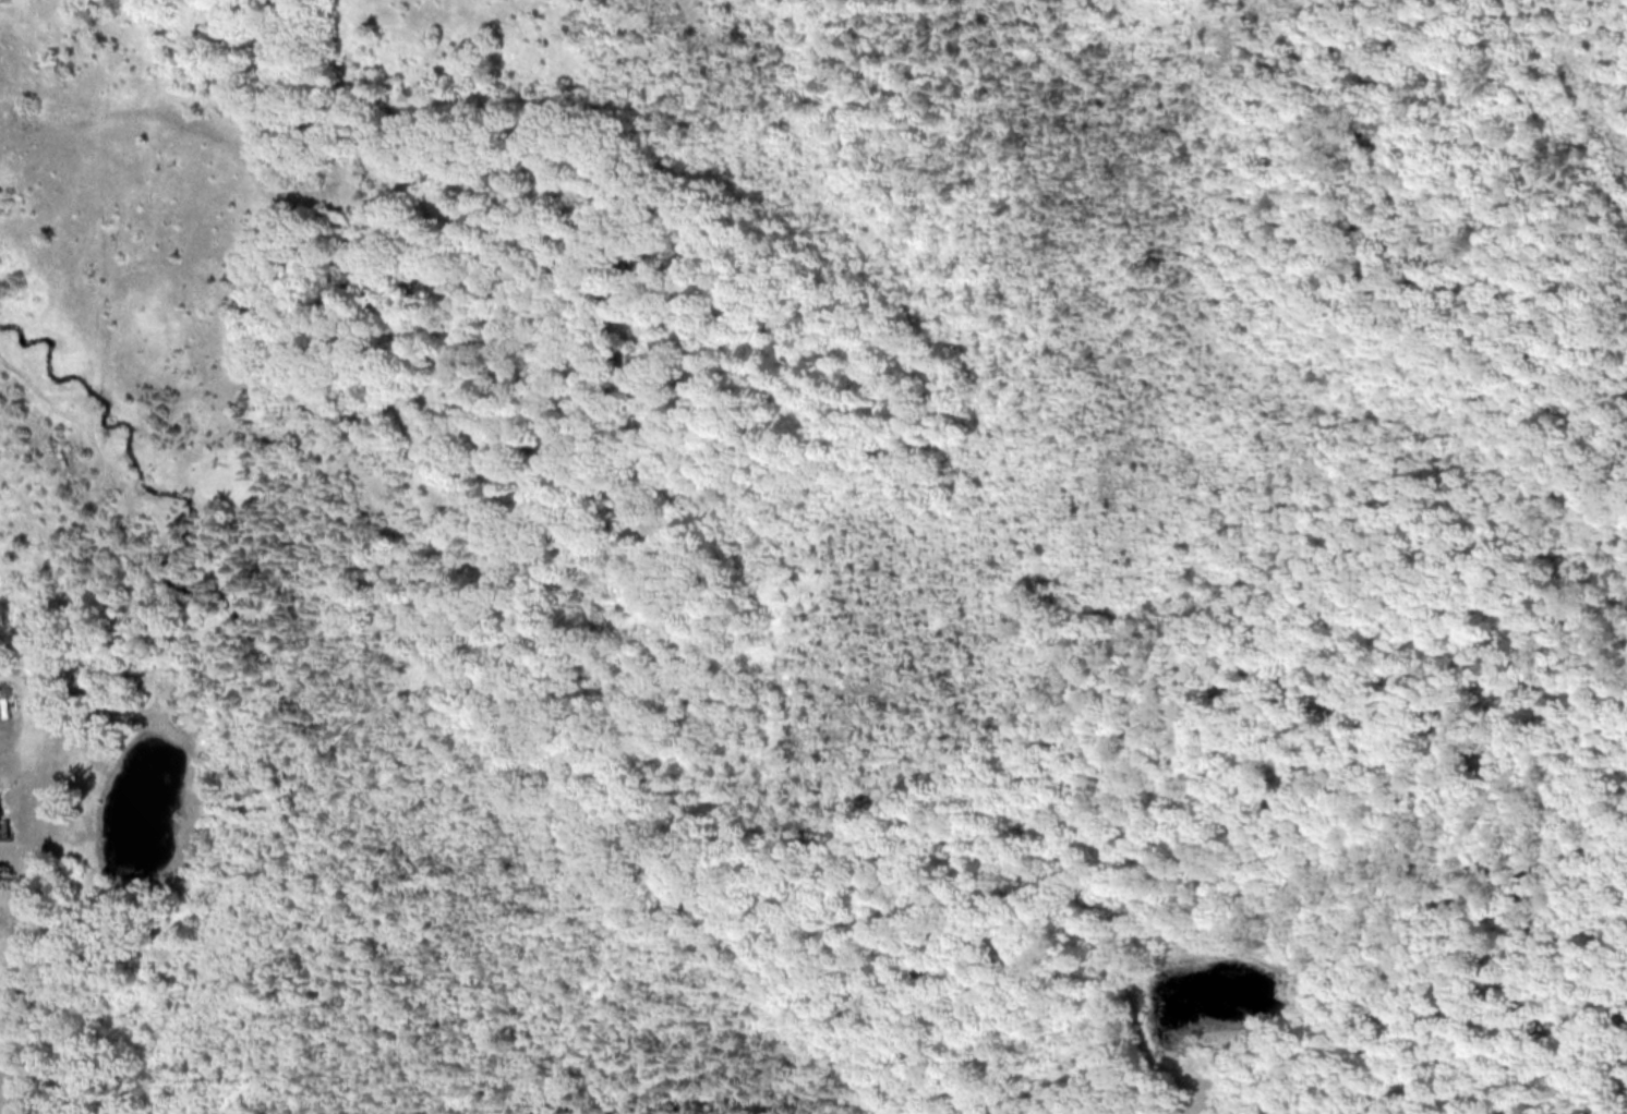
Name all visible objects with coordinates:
building: (9, 700)
building: (5, 812)

